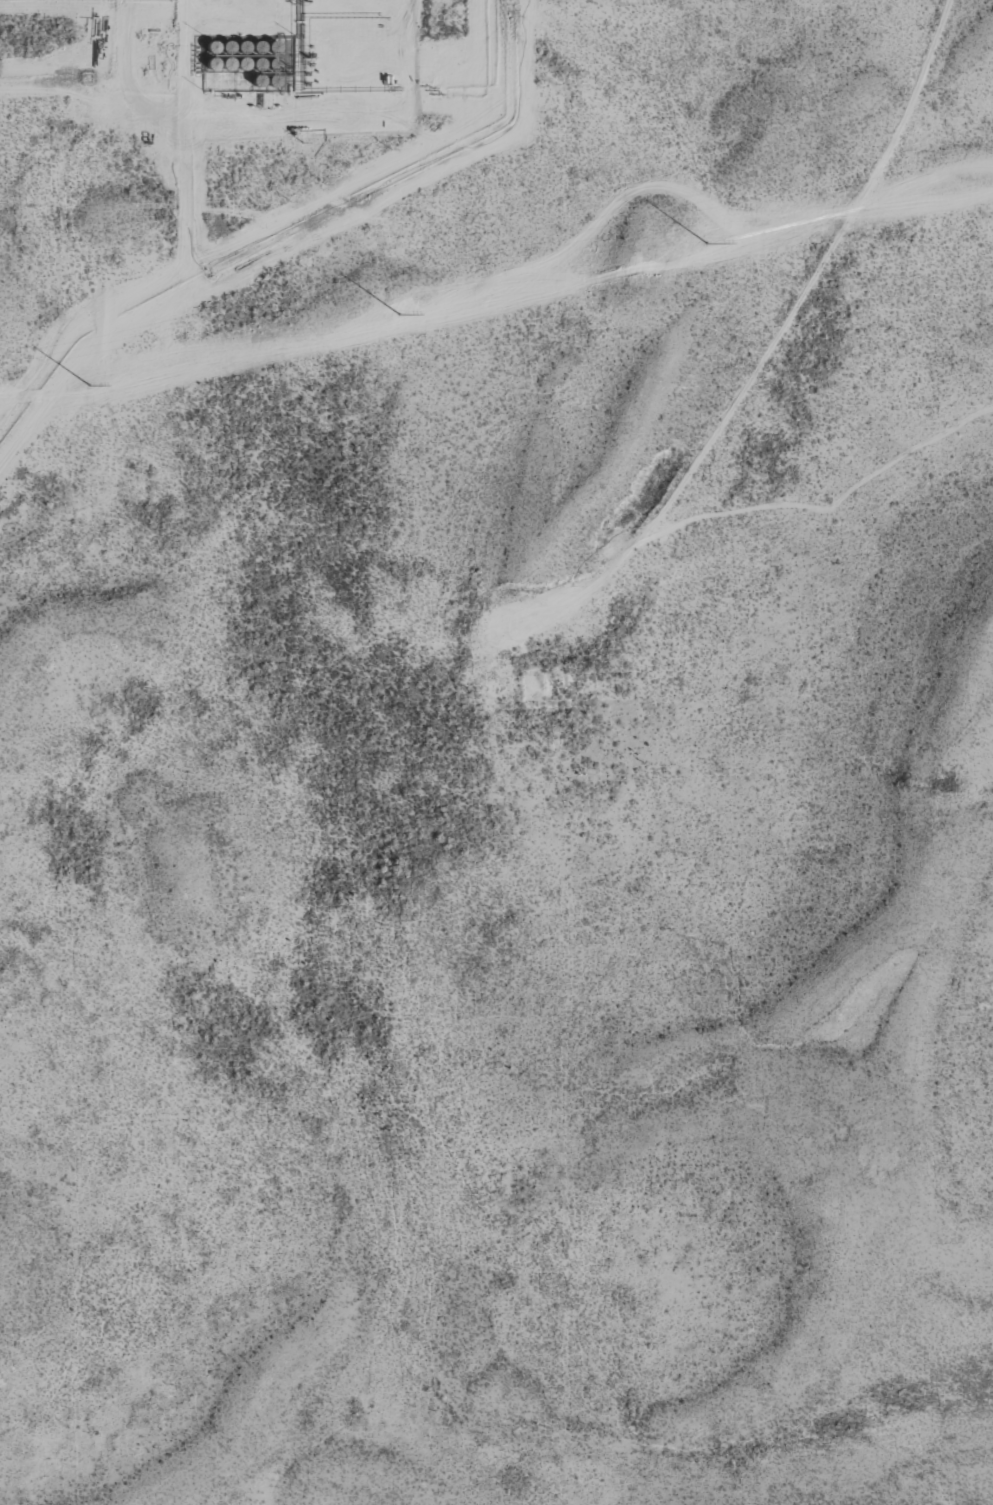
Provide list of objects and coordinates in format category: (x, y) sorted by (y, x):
power tower: (711, 243)
road: (818, 289)
power tower: (402, 314)
power tower: (93, 386)

